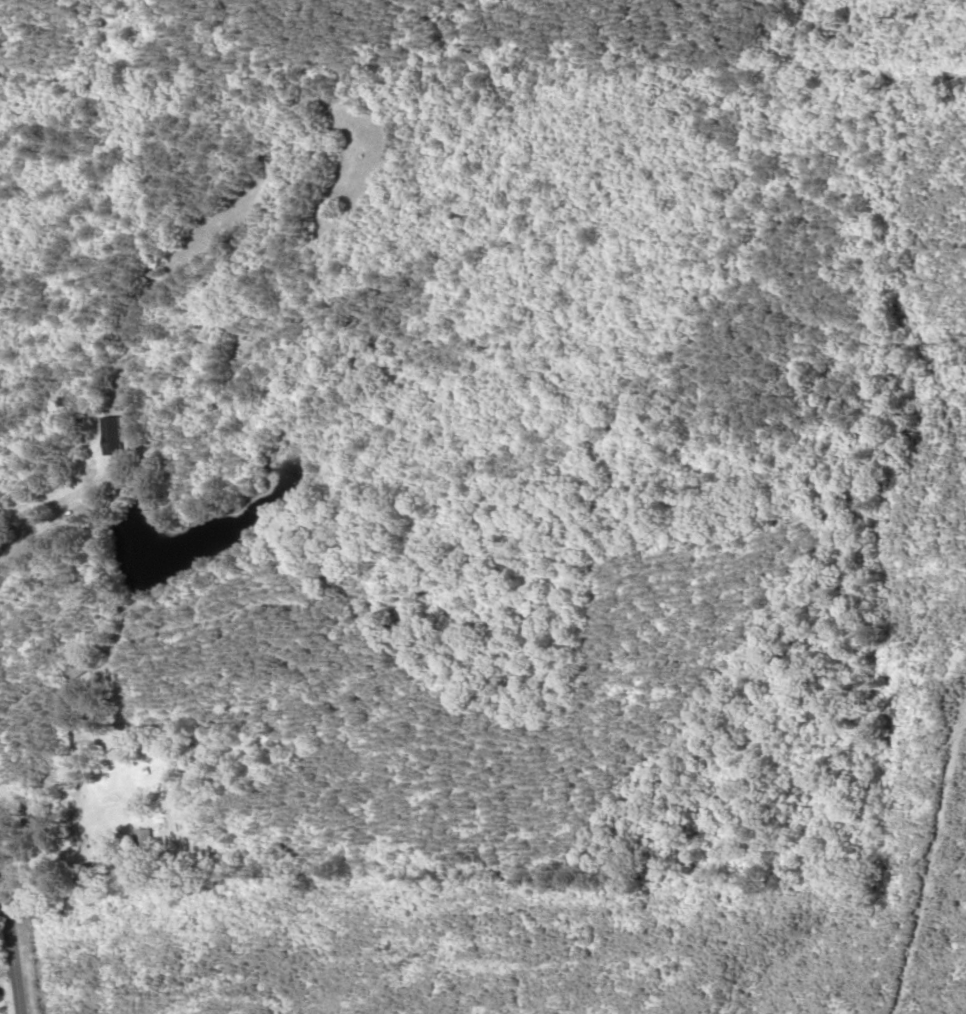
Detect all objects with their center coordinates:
building: (110, 436)
building: (85, 665)
building: (142, 844)
road: (3, 995)

